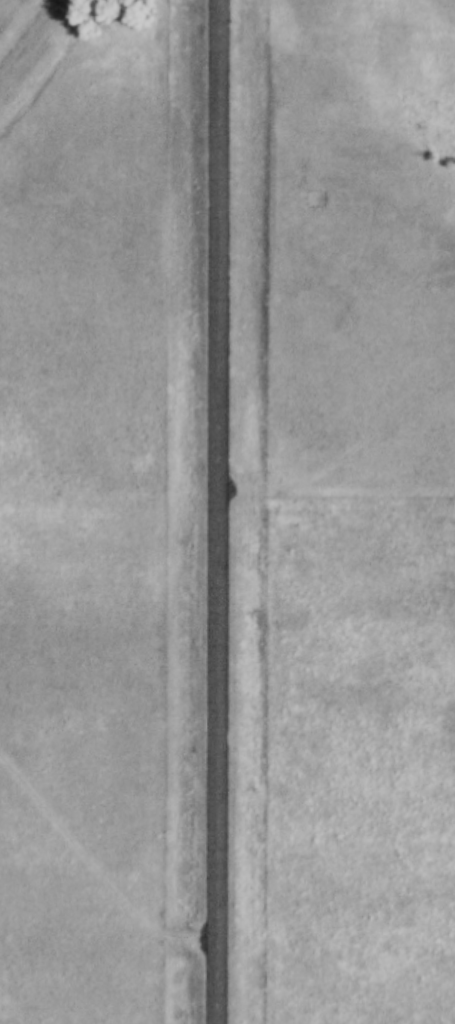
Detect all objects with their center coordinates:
road: (336, 487)
road: (217, 511)
road: (95, 862)

